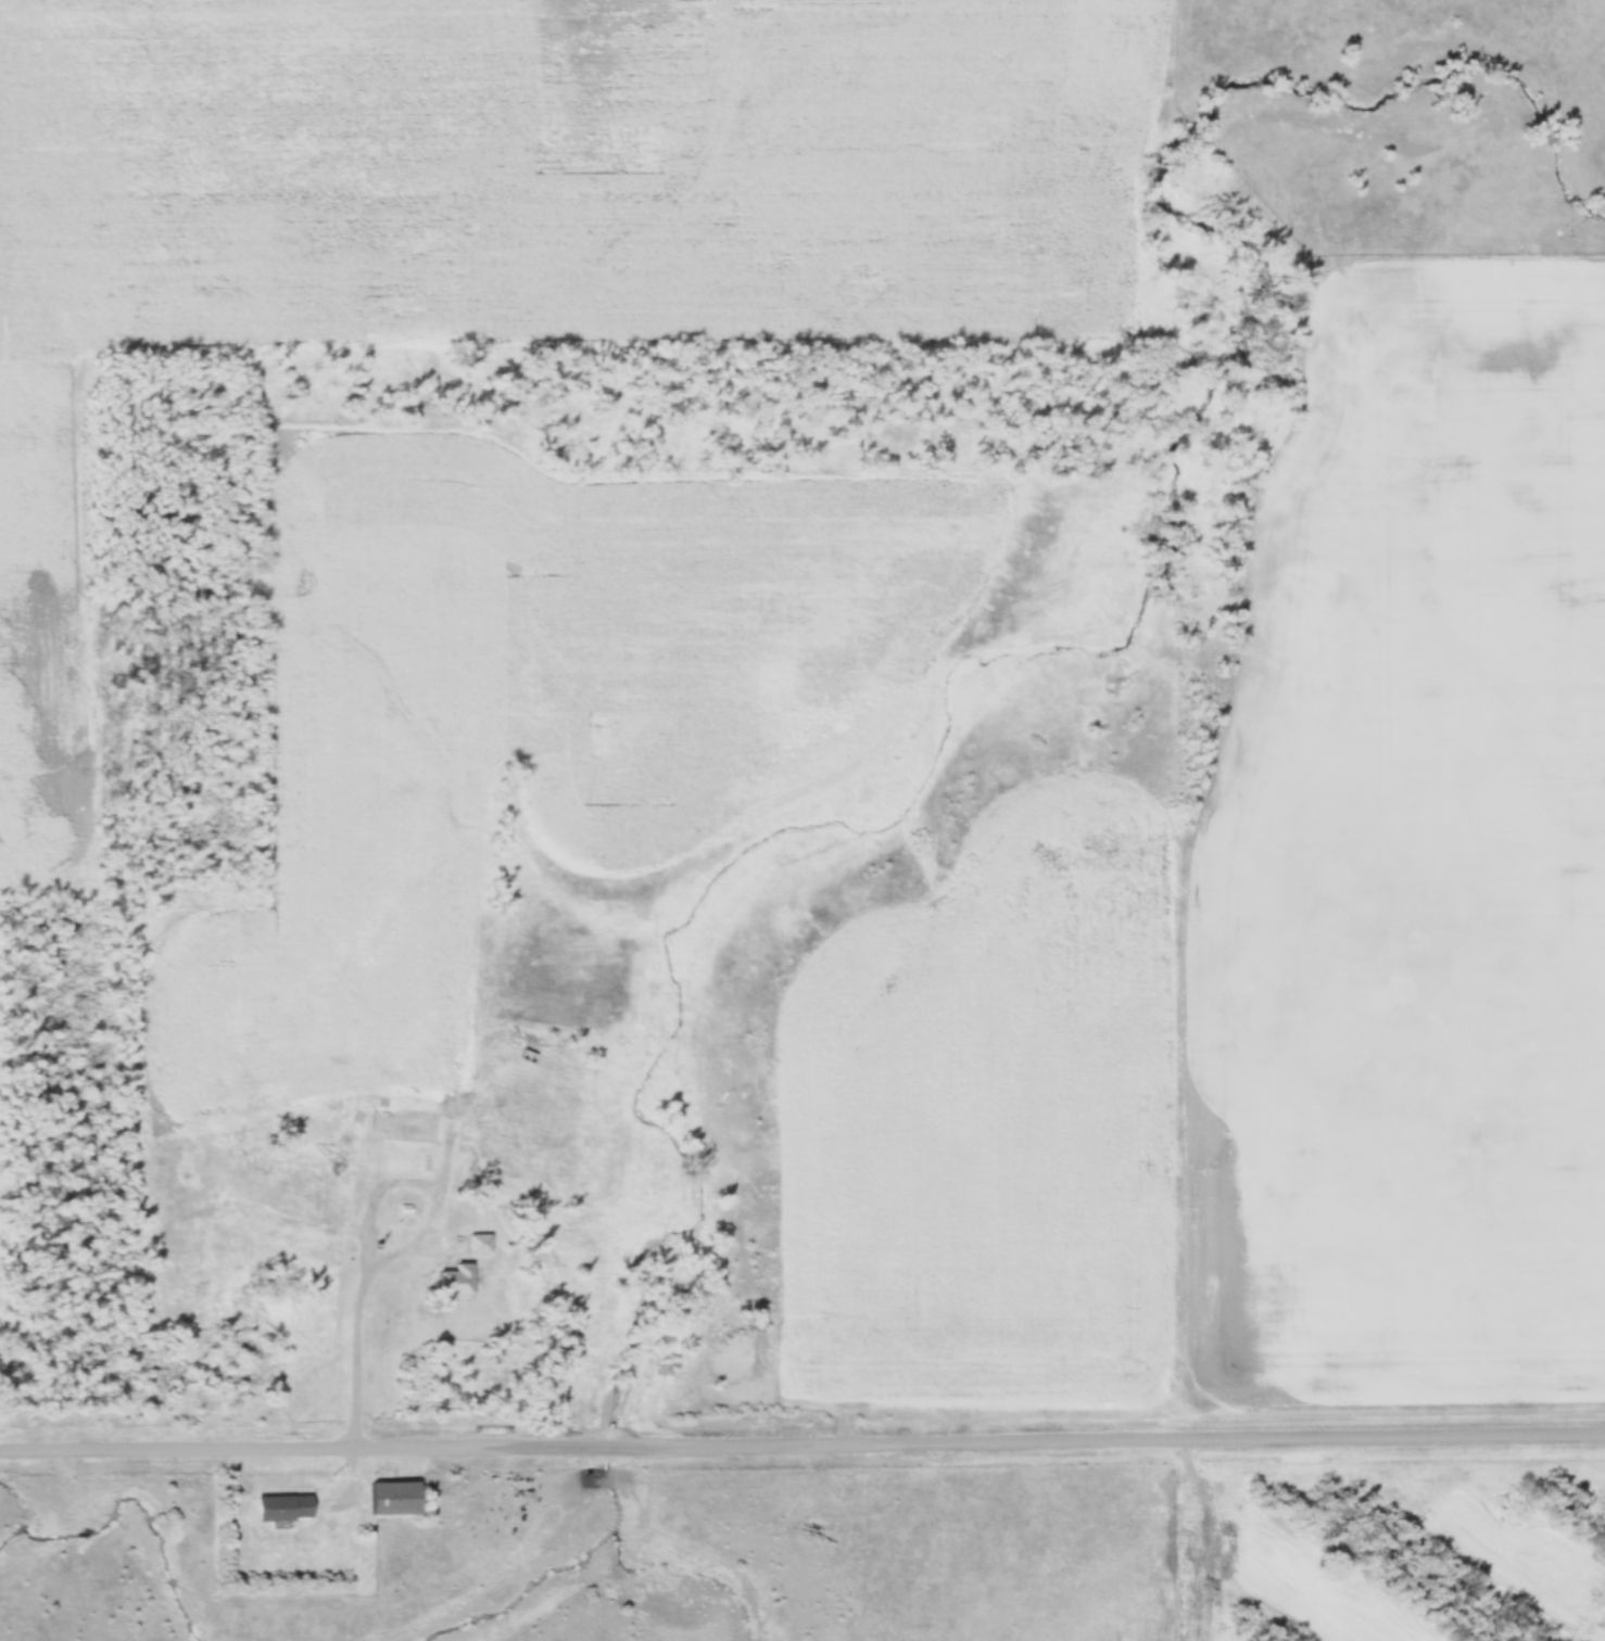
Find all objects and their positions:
building: (401, 1123)
building: (478, 1244)
building: (454, 1283)
road: (802, 1443)
building: (391, 1498)
building: (281, 1508)

